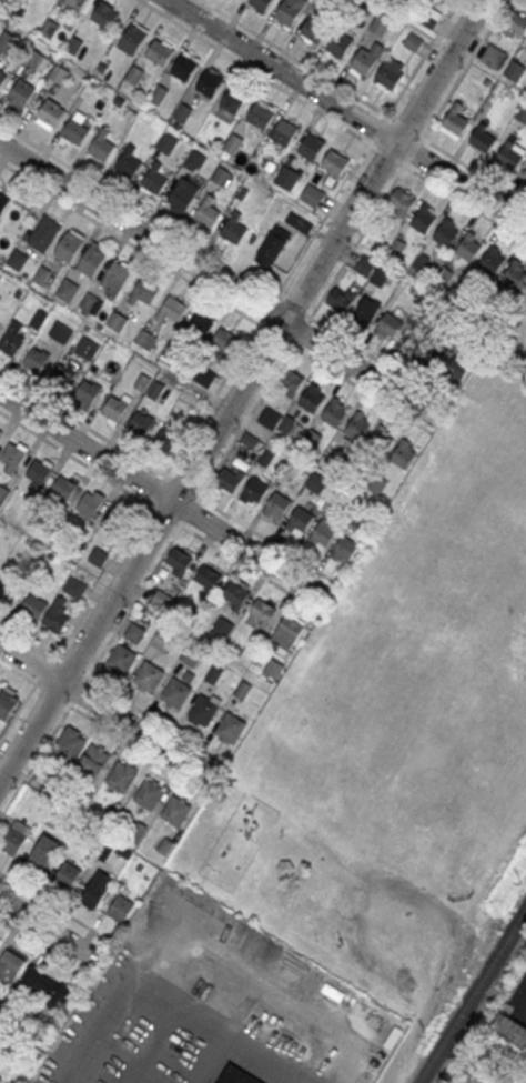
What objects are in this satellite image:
building: (261, 3)
building: (75, 4)
building: (290, 10)
building: (105, 16)
building: (380, 24)
building: (515, 24)
building: (49, 28)
building: (313, 30)
building: (133, 38)
building: (414, 41)
building: (338, 43)
building: (73, 44)
building: (525, 47)
building: (161, 53)
building: (493, 56)
building: (366, 58)
building: (39, 61)
building: (185, 68)
building: (514, 70)
building: (59, 73)
building: (134, 74)
building: (388, 76)
building: (2, 77)
building: (210, 83)
building: (21, 92)
building: (158, 94)
building: (233, 100)
road: (363, 101)
building: (51, 111)
building: (182, 111)
road: (347, 111)
building: (522, 112)
building: (260, 114)
road: (332, 121)
building: (455, 122)
building: (75, 129)
building: (284, 132)
building: (483, 139)
building: (166, 142)
building: (233, 143)
building: (101, 146)
building: (310, 147)
building: (510, 153)
building: (191, 159)
building: (334, 160)
building: (127, 161)
building: (221, 176)
building: (524, 176)
building: (286, 177)
building: (154, 178)
building: (182, 194)
building: (312, 194)
building: (3, 202)
building: (401, 202)
building: (208, 212)
building: (423, 219)
building: (234, 227)
building: (45, 232)
building: (446, 233)
building: (468, 245)
building: (68, 247)
building: (272, 247)
building: (18, 259)
building: (93, 259)
building: (492, 259)
road: (223, 261)
building: (364, 265)
building: (514, 273)
building: (41, 274)
building: (380, 274)
building: (117, 277)
road: (216, 278)
building: (68, 289)
building: (146, 291)
road: (215, 298)
building: (341, 298)
building: (90, 302)
building: (173, 309)
building: (366, 311)
building: (38, 319)
building: (117, 320)
building: (200, 325)
building: (388, 325)
building: (61, 332)
building: (144, 338)
building: (11, 340)
building: (224, 341)
building: (404, 343)
building: (85, 347)
building: (37, 358)
road: (230, 370)
building: (63, 374)
building: (204, 375)
building: (141, 381)
building: (290, 381)
building: (155, 389)
road: (241, 390)
building: (88, 393)
building: (312, 398)
building: (115, 408)
road: (253, 409)
building: (335, 412)
building: (270, 417)
building: (141, 422)
building: (357, 425)
building: (0, 431)
building: (166, 437)
building: (381, 441)
building: (402, 452)
building: (13, 457)
building: (265, 457)
building: (39, 473)
road: (168, 478)
building: (227, 480)
building: (316, 482)
building: (63, 487)
building: (254, 490)
building: (3, 492)
road: (163, 494)
building: (91, 502)
building: (276, 505)
road: (160, 511)
building: (115, 519)
building: (299, 521)
building: (325, 530)
building: (344, 548)
building: (98, 555)
building: (181, 560)
building: (208, 578)
building: (74, 586)
building: (9, 590)
building: (235, 594)
building: (161, 599)
building: (33, 605)
building: (263, 611)
building: (55, 614)
building: (223, 628)
building: (133, 632)
building: (286, 633)
building: (162, 640)
building: (190, 654)
building: (121, 660)
building: (273, 668)
building: (213, 673)
building: (148, 676)
building: (243, 689)
road: (112, 692)
building: (175, 694)
building: (7, 701)
road: (108, 710)
building: (202, 711)
park: (395, 723)
road: (103, 726)
building: (230, 728)
building: (69, 742)
building: (94, 759)
building: (122, 776)
building: (149, 793)
building: (175, 811)
building: (16, 835)
building: (43, 853)
building: (67, 873)
building: (95, 889)
road: (57, 905)
building: (120, 907)
road: (51, 925)
road: (45, 946)
building: (9, 964)
building: (48, 989)
railway: (471, 994)
parking lot: (518, 1000)
building: (509, 1030)
parking lot: (160, 1037)
building: (235, 1076)
building: (0, 1079)
parking lot: (524, 1080)

